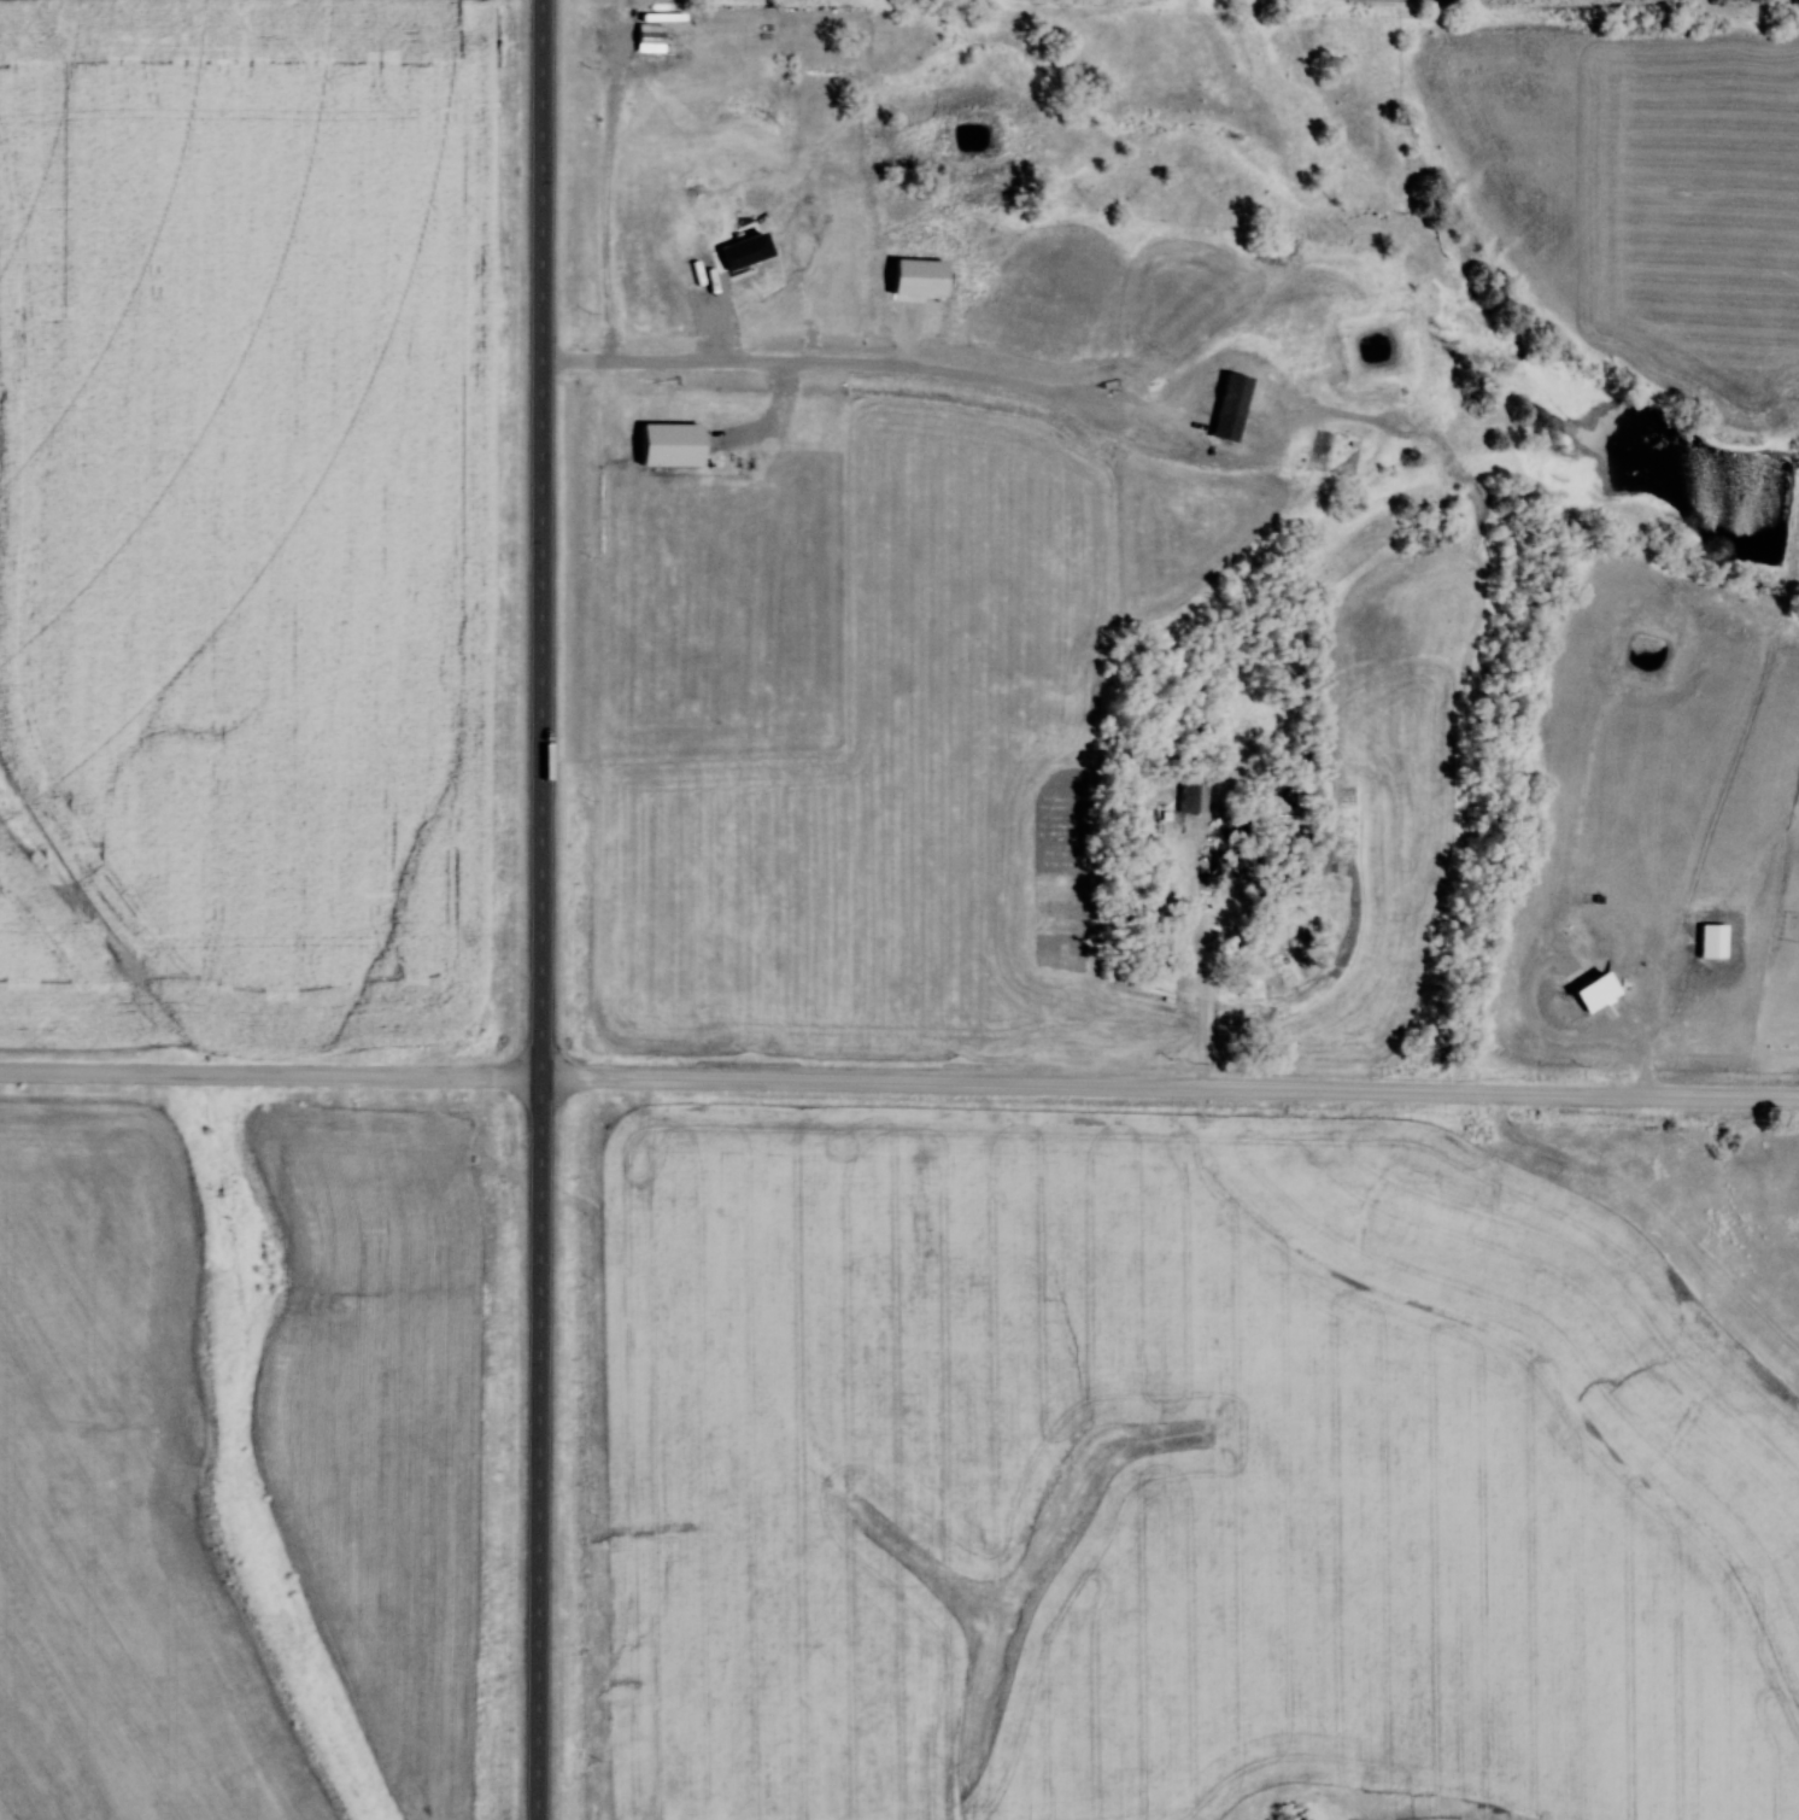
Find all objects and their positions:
building: (1190, 791)
building: (1225, 864)
road: (543, 909)
building: (1238, 988)
road: (271, 1075)
road: (1170, 1089)

